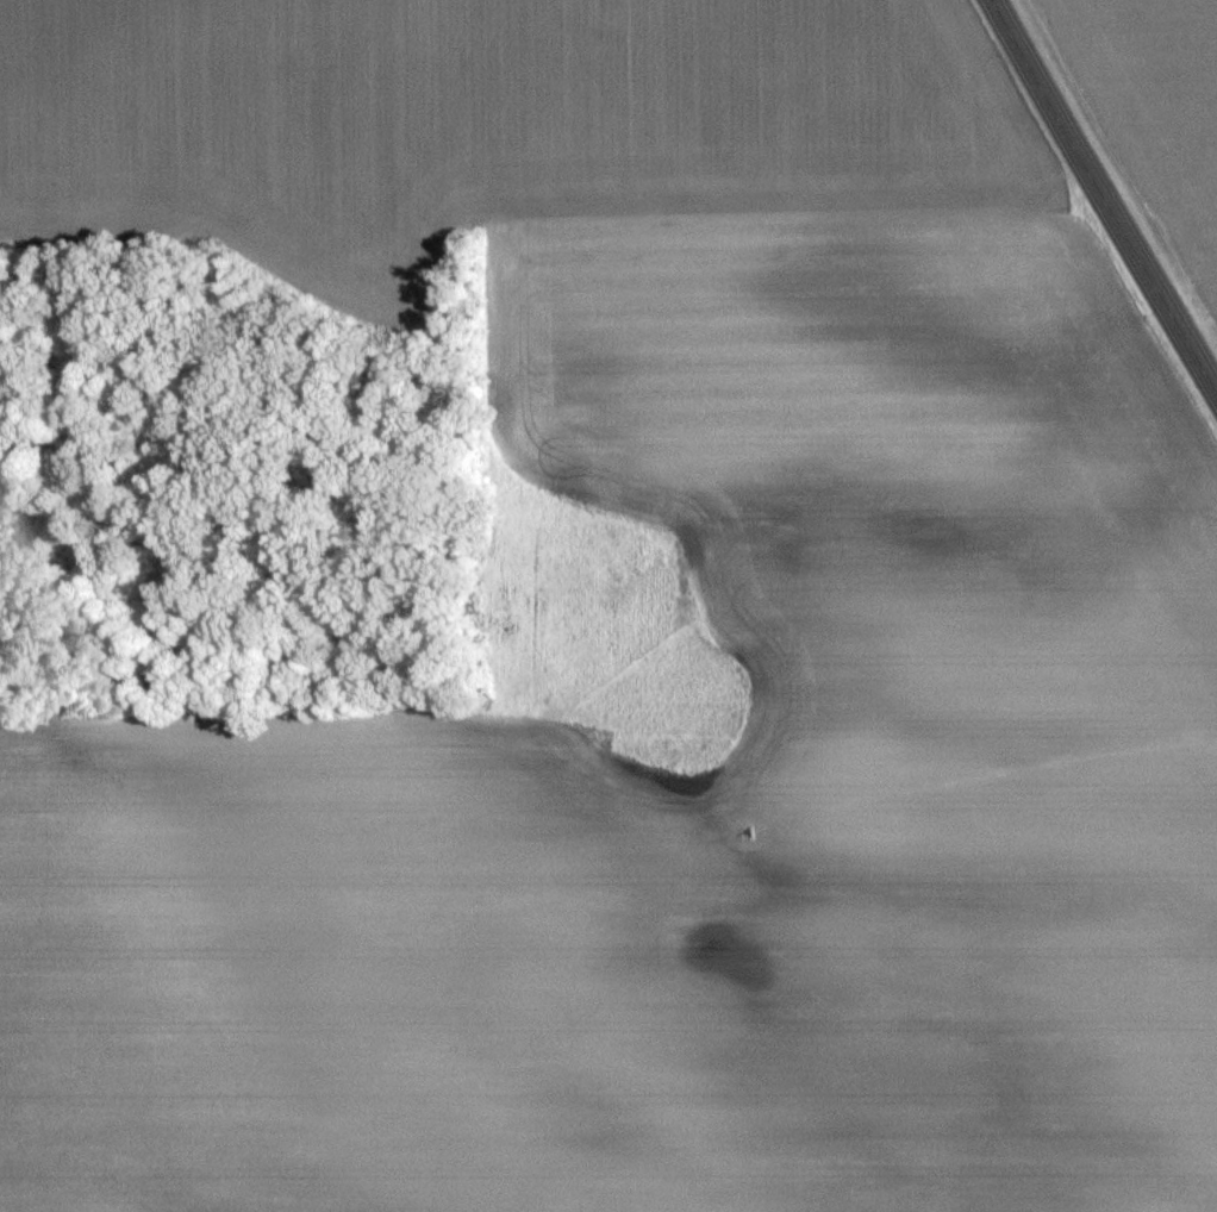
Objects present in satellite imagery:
road: (1104, 196)

